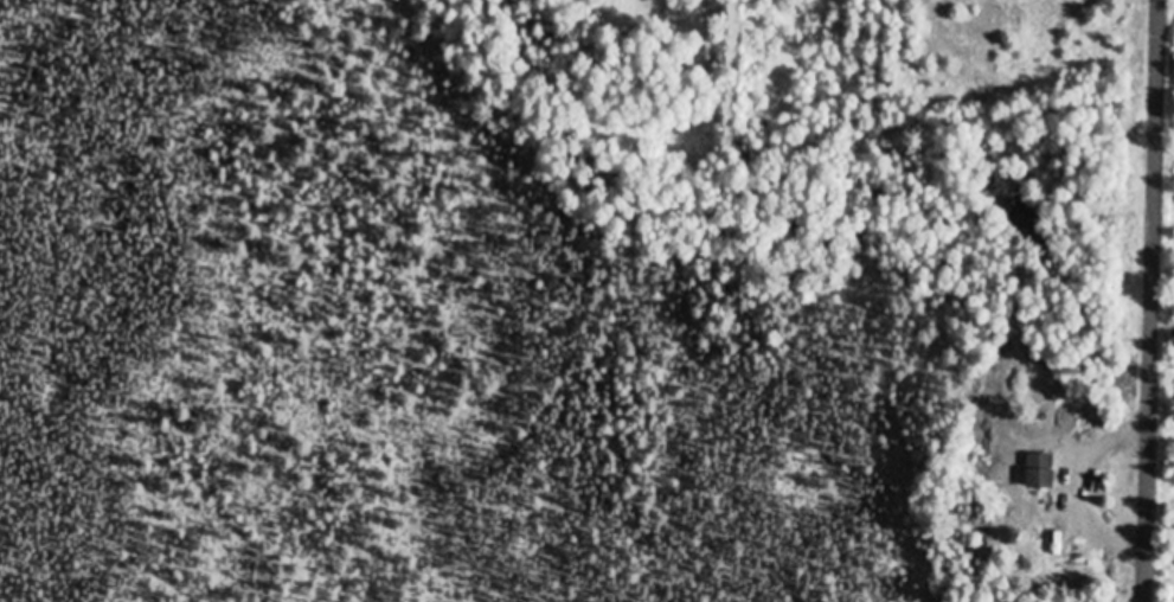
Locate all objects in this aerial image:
road: (1157, 301)
building: (1039, 472)
building: (1059, 534)

